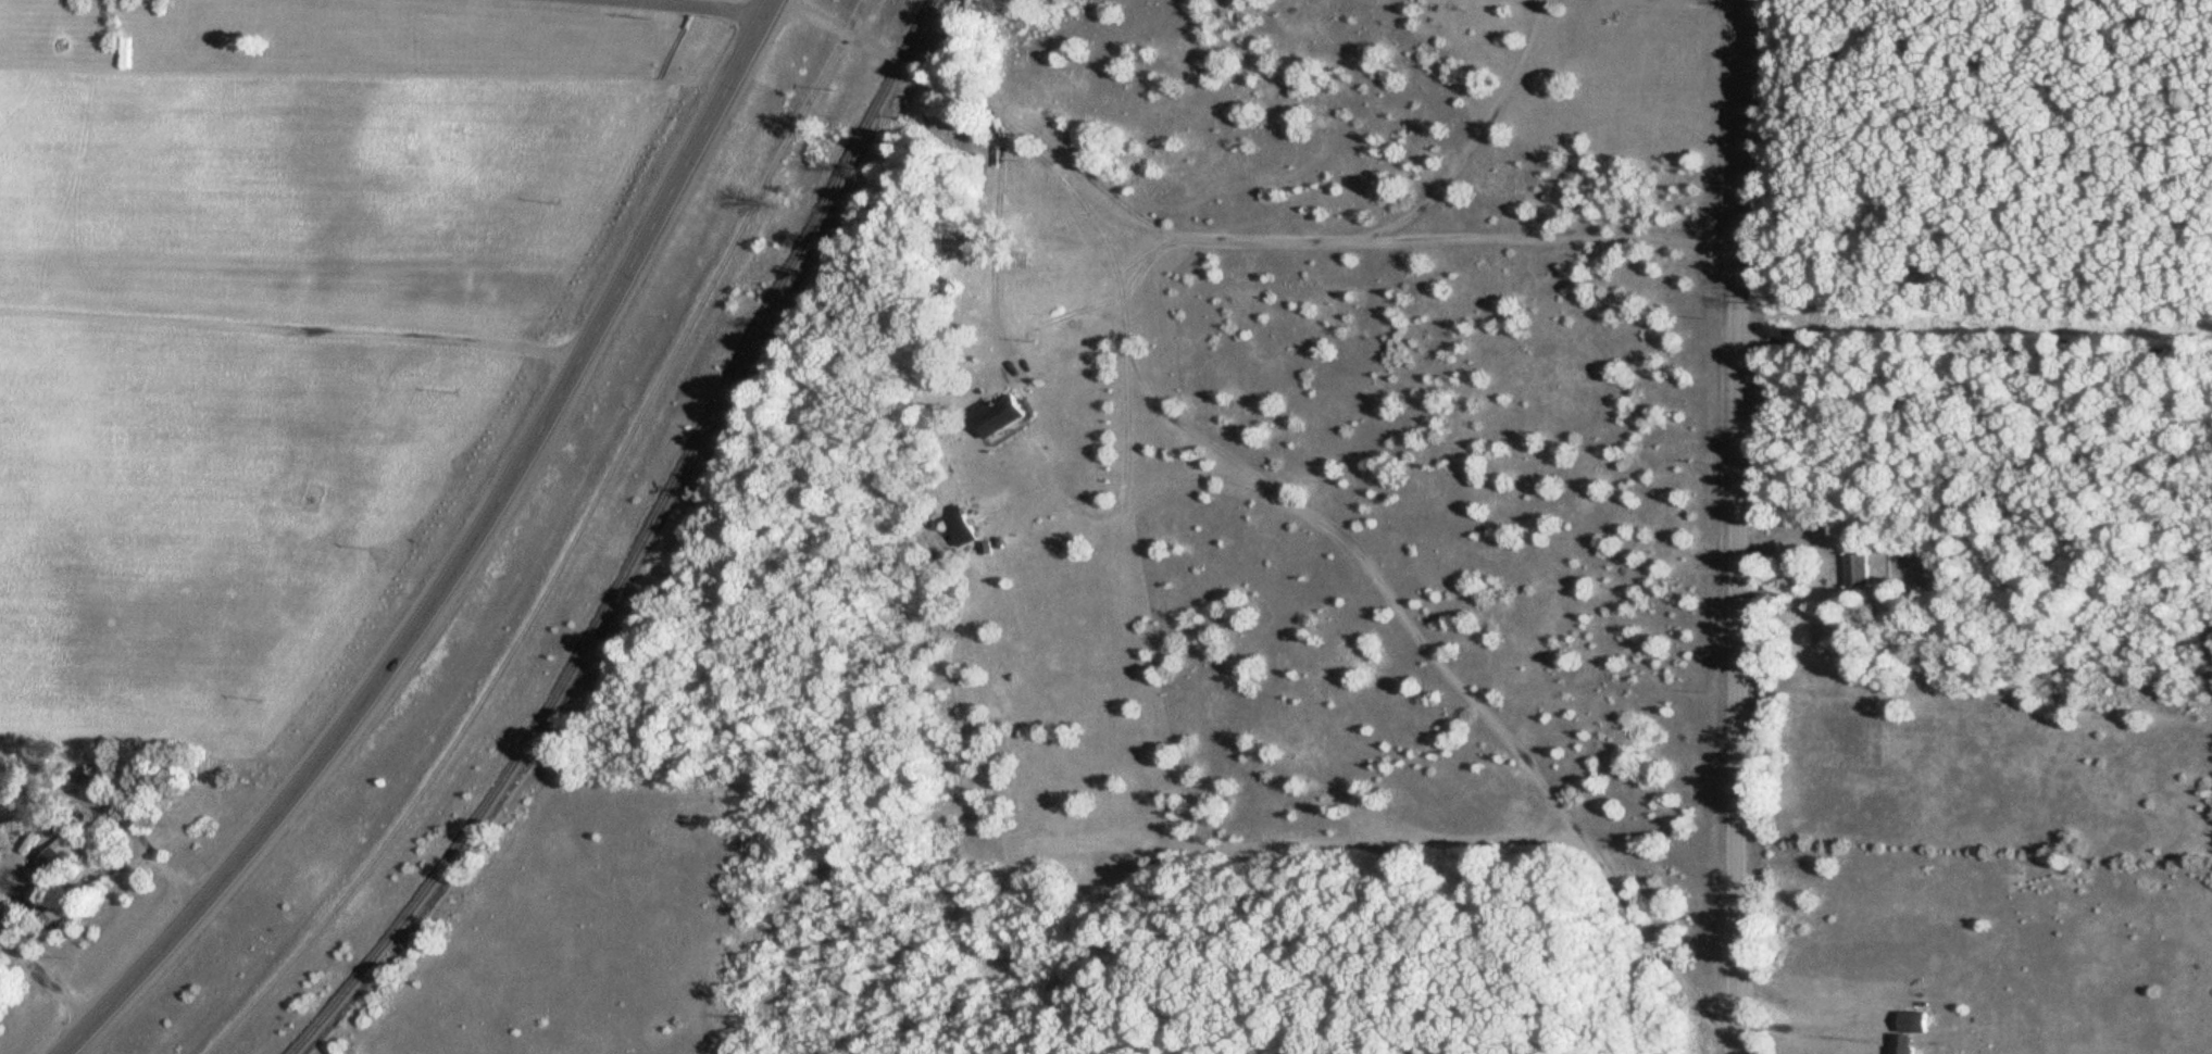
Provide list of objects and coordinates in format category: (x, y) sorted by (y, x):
road: (1727, 1)
road: (689, 5)
road: (882, 55)
road: (1126, 222)
road: (1551, 238)
road: (1310, 241)
road: (993, 242)
road: (1092, 292)
road: (1124, 341)
road: (1975, 349)
building: (992, 414)
road: (1199, 476)
road: (1738, 526)
building: (957, 528)
railway: (638, 544)
road: (564, 549)
road: (1791, 549)
road: (462, 557)
building: (1853, 568)
road: (1450, 673)
building: (14, 825)
road: (1808, 1030)
building: (1904, 1031)

